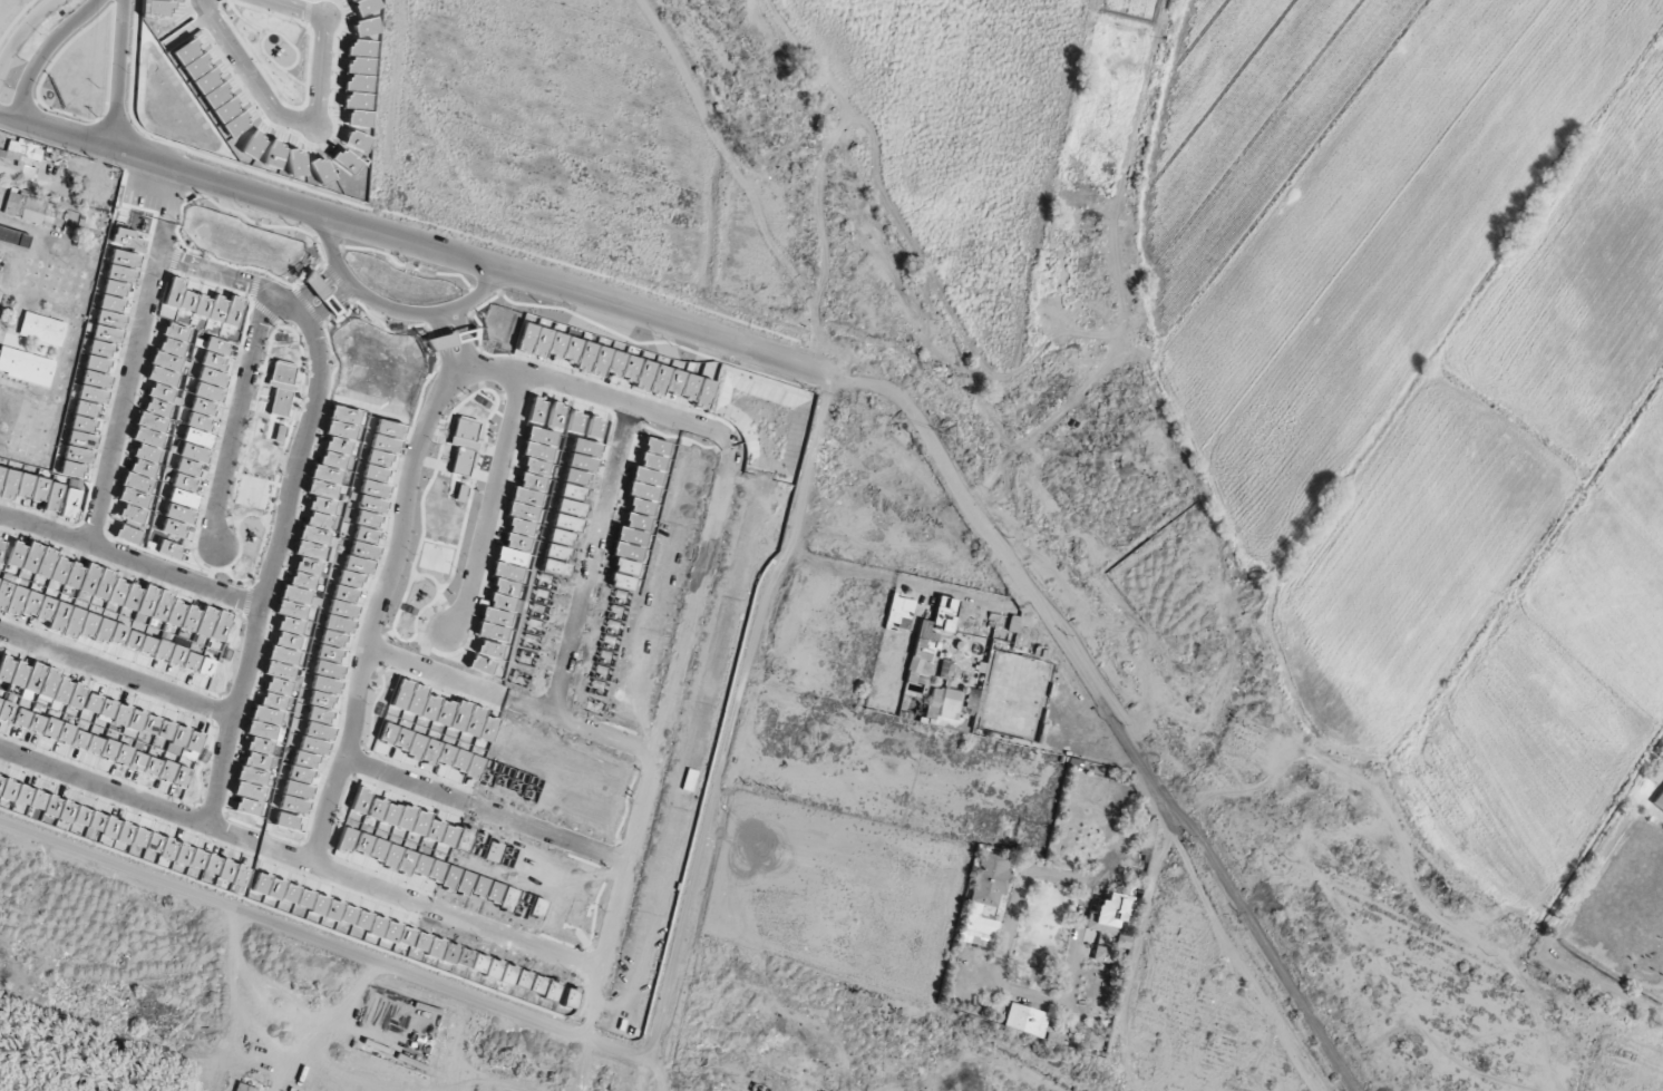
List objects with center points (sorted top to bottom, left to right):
crop: (1146, 3)
crop: (952, 125)
crop: (547, 135)
crop: (1341, 212)
crop: (1499, 428)
crop: (185, 535)
crop: (1563, 685)
road: (1545, 943)

